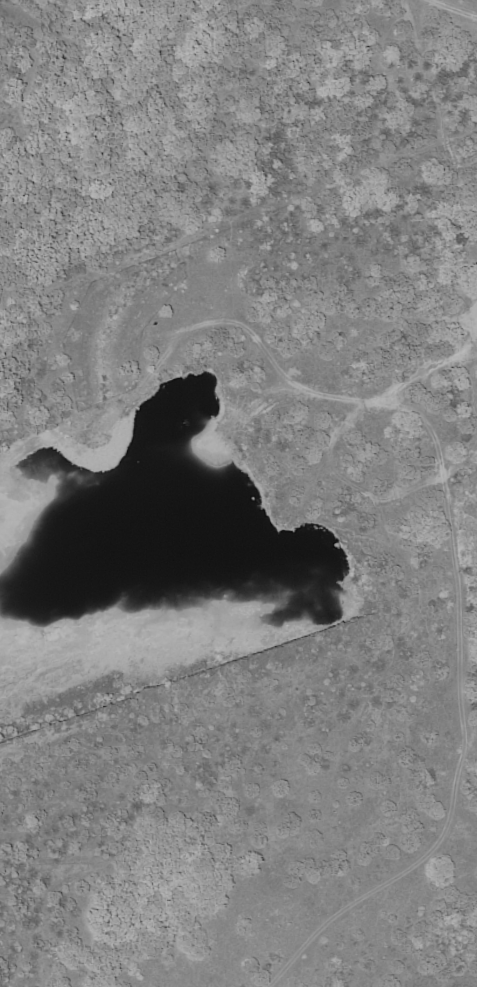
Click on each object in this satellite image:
road: (432, 10)

